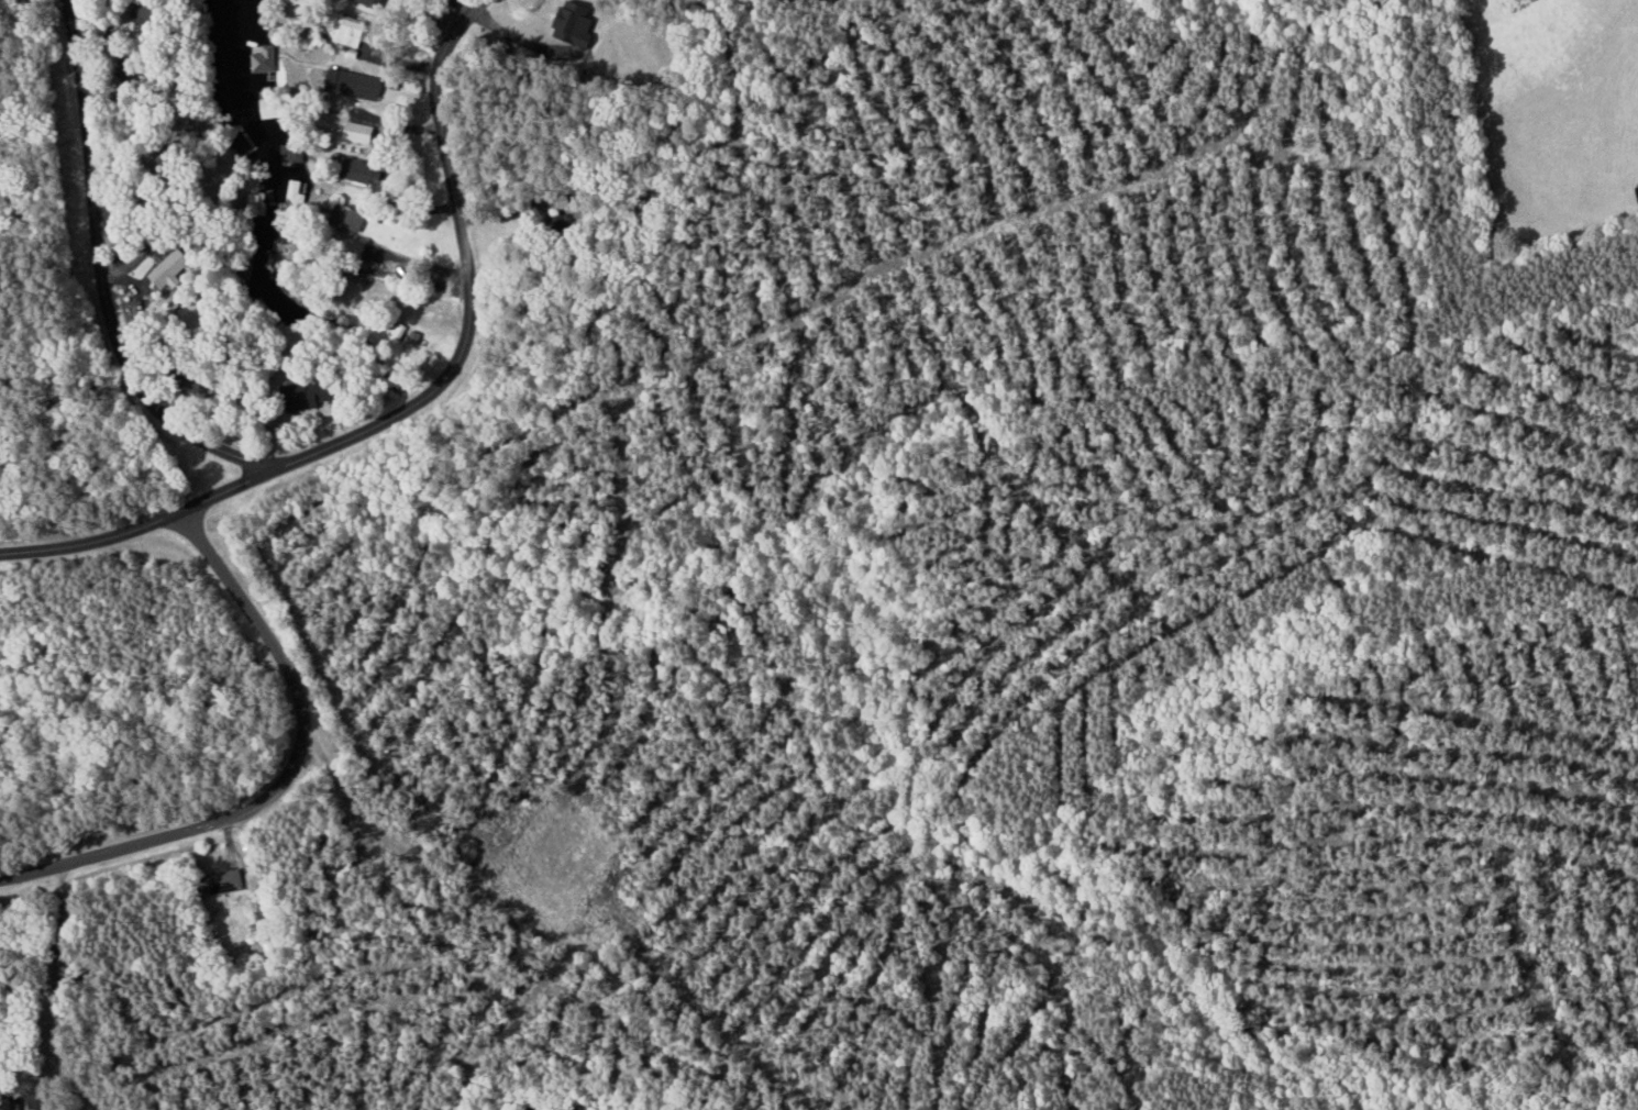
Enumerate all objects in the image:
building: (374, 2)
building: (351, 33)
building: (263, 58)
building: (356, 85)
building: (273, 104)
building: (361, 132)
building: (364, 174)
building: (292, 197)
building: (351, 221)
building: (169, 269)
road: (468, 275)
road: (98, 278)
building: (188, 312)
building: (316, 393)
road: (144, 522)
road: (284, 777)
building: (228, 880)
building: (37, 1100)

